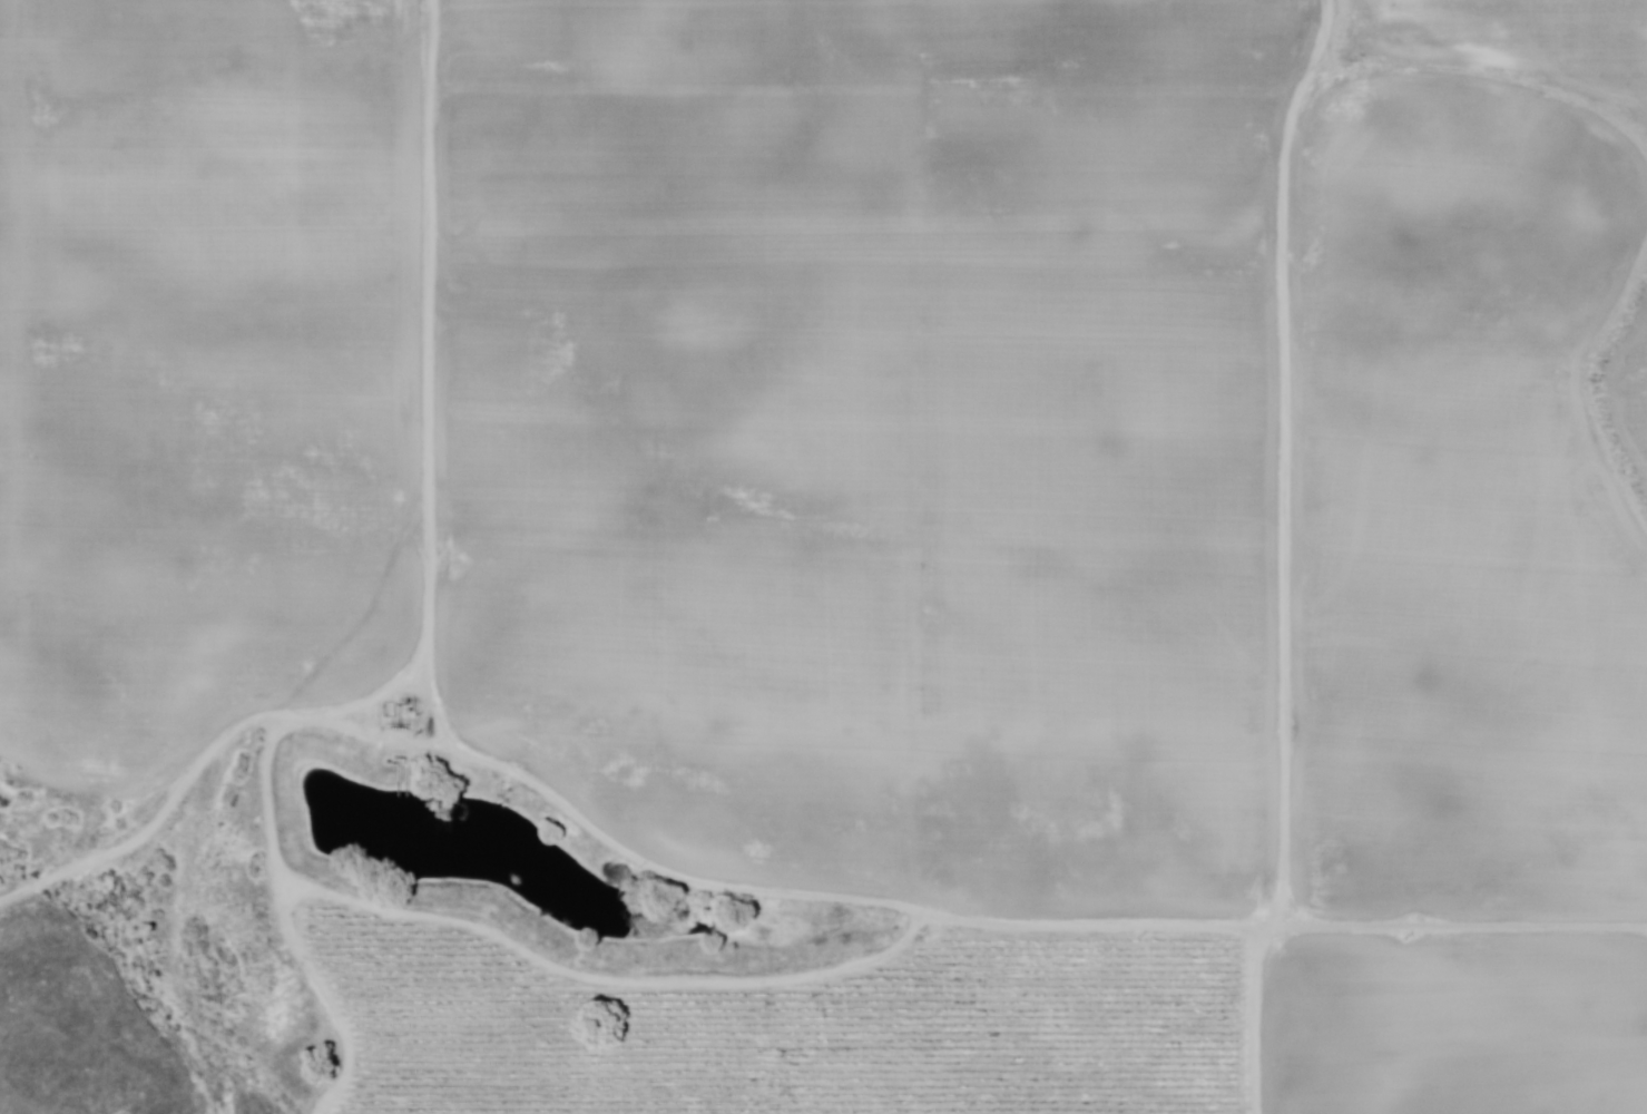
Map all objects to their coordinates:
road: (1490, 79)
road: (1584, 385)
road: (1285, 455)
road: (773, 887)

